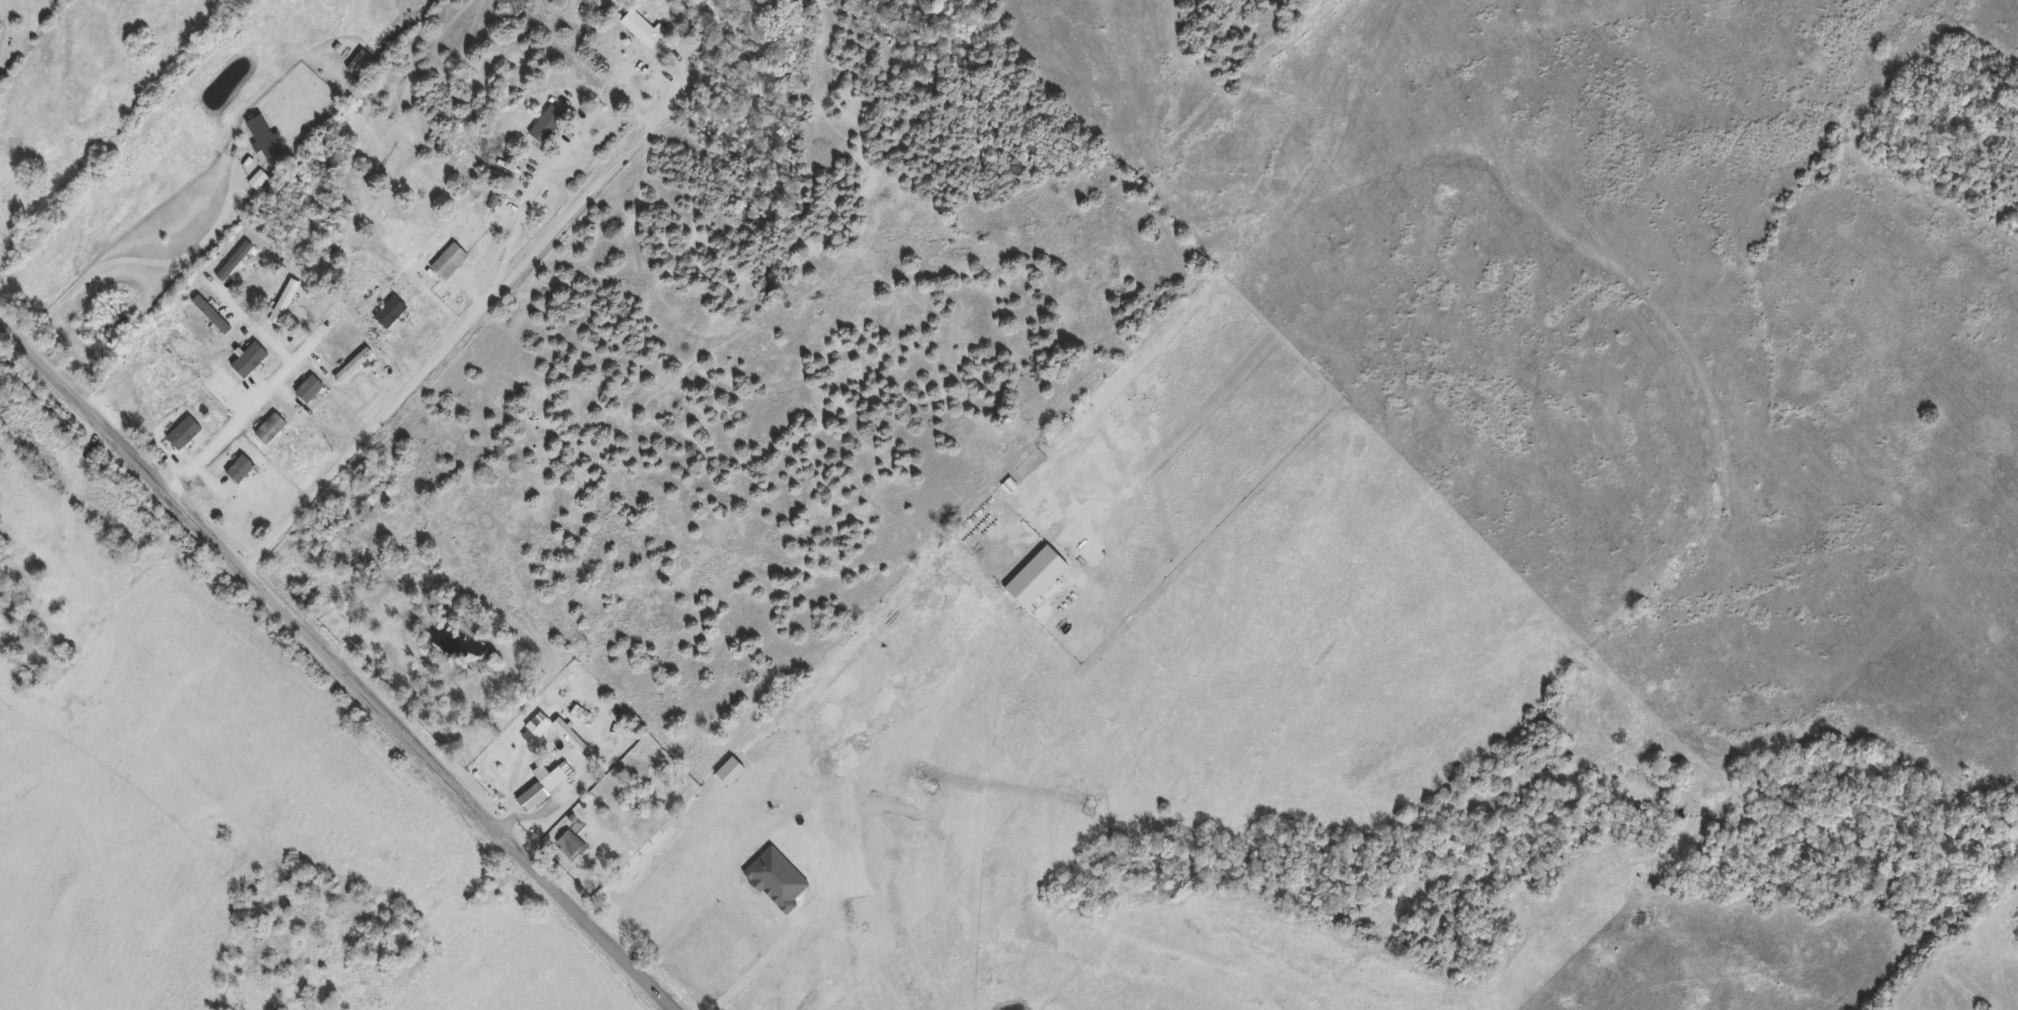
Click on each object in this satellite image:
building: (641, 30)
building: (545, 125)
road: (128, 261)
building: (447, 263)
building: (388, 313)
road: (443, 355)
building: (352, 366)
road: (253, 409)
building: (1034, 579)
road: (341, 664)
building: (537, 727)
building: (567, 737)
building: (727, 774)
building: (542, 788)
road: (538, 813)
building: (569, 845)
building: (773, 881)
road: (766, 965)

